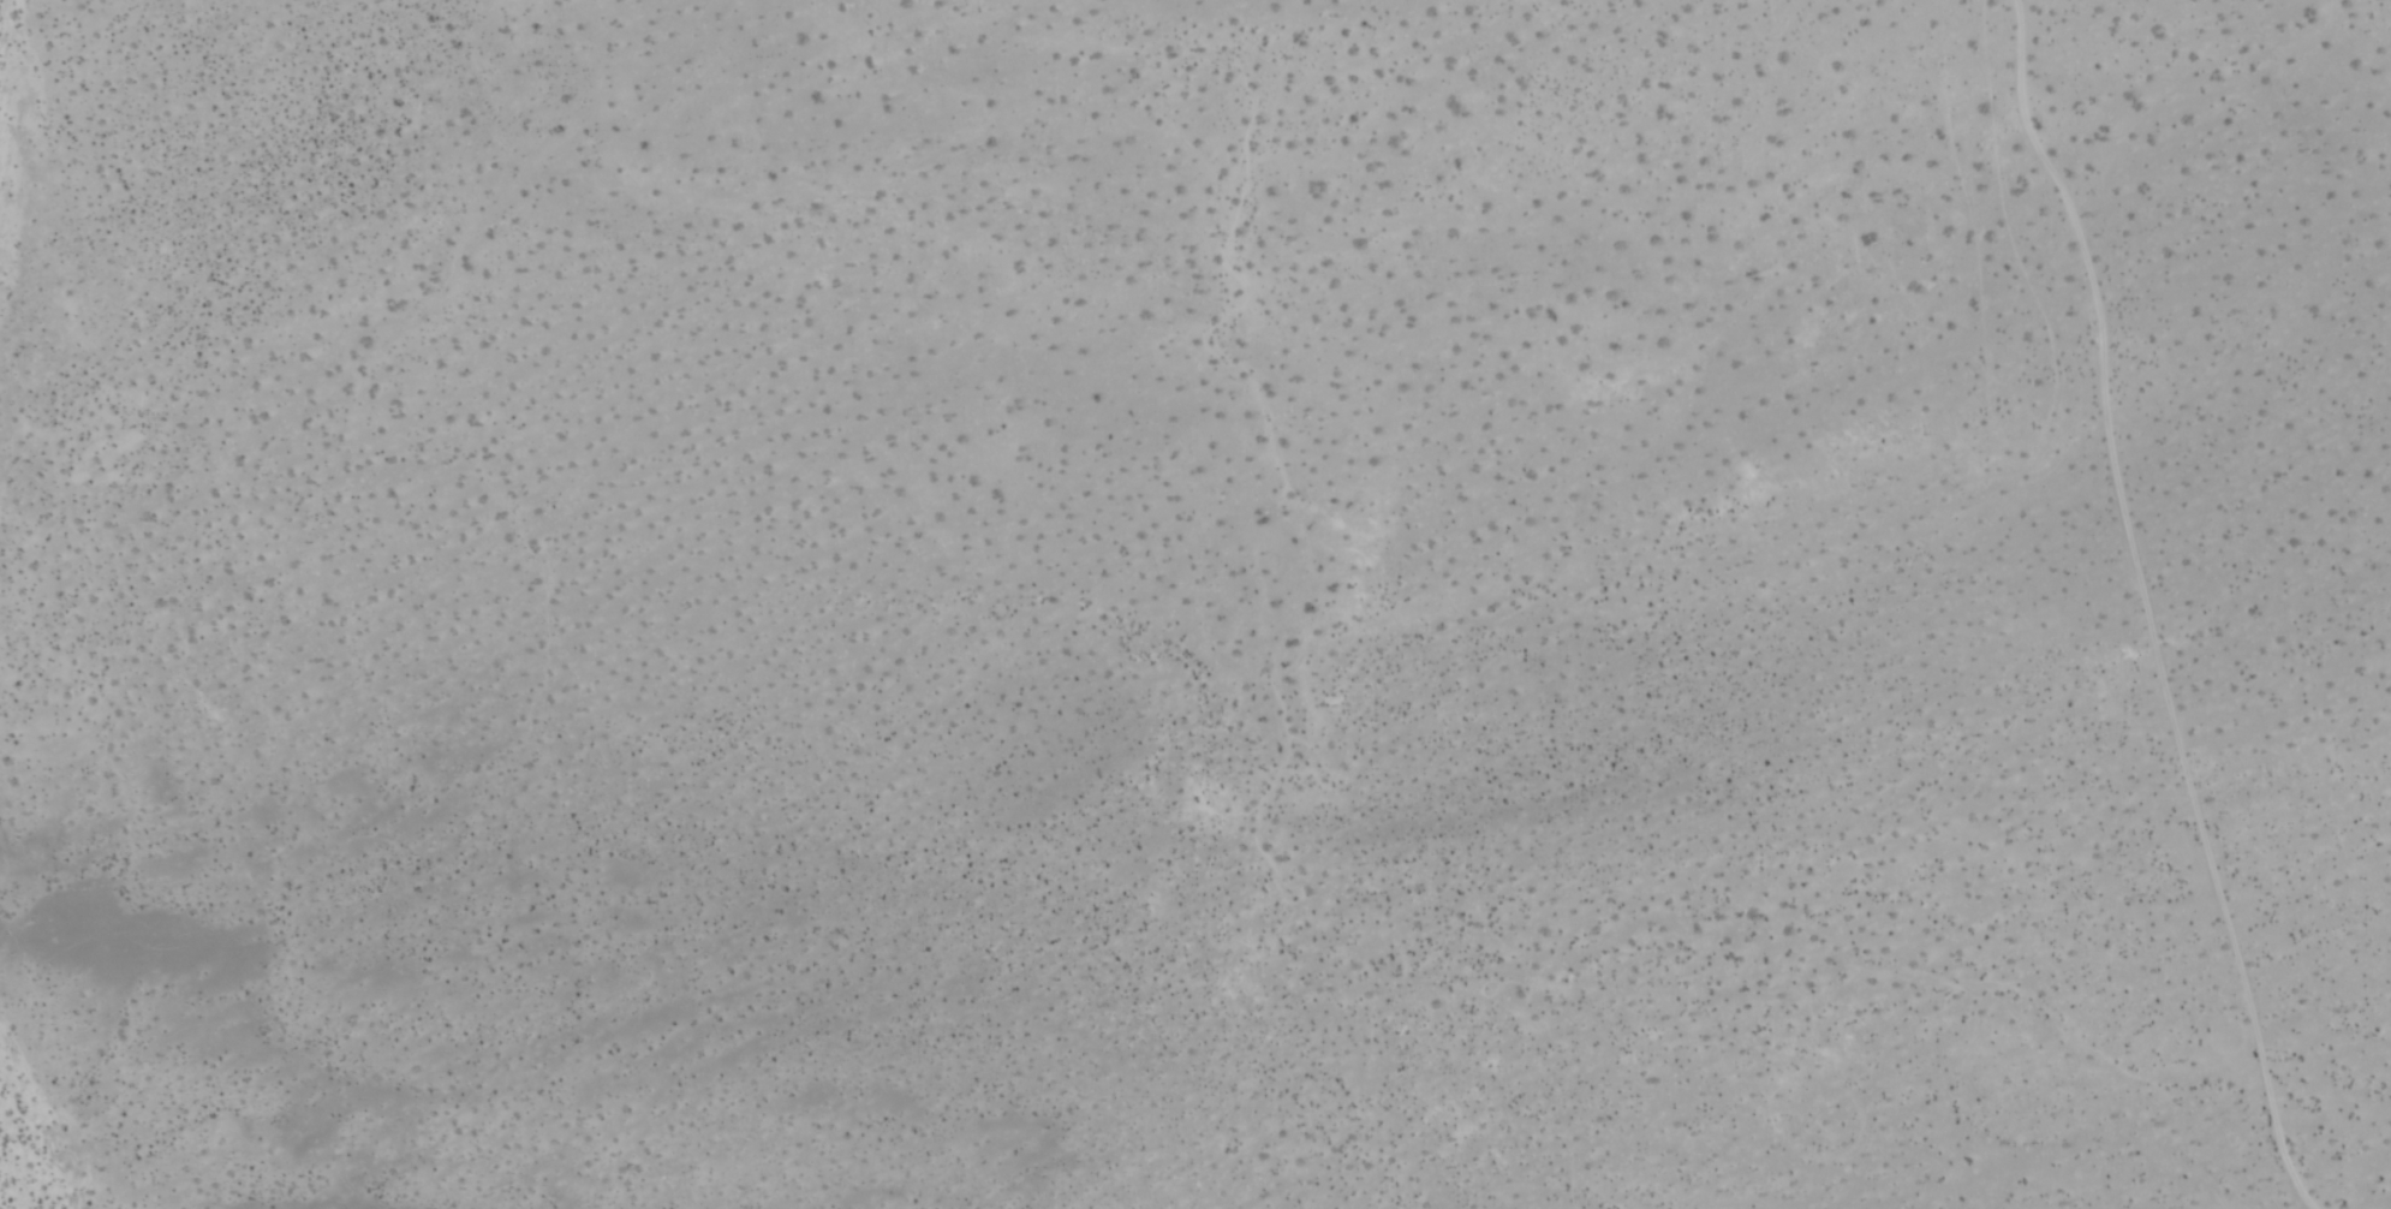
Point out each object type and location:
road: (2170, 608)

